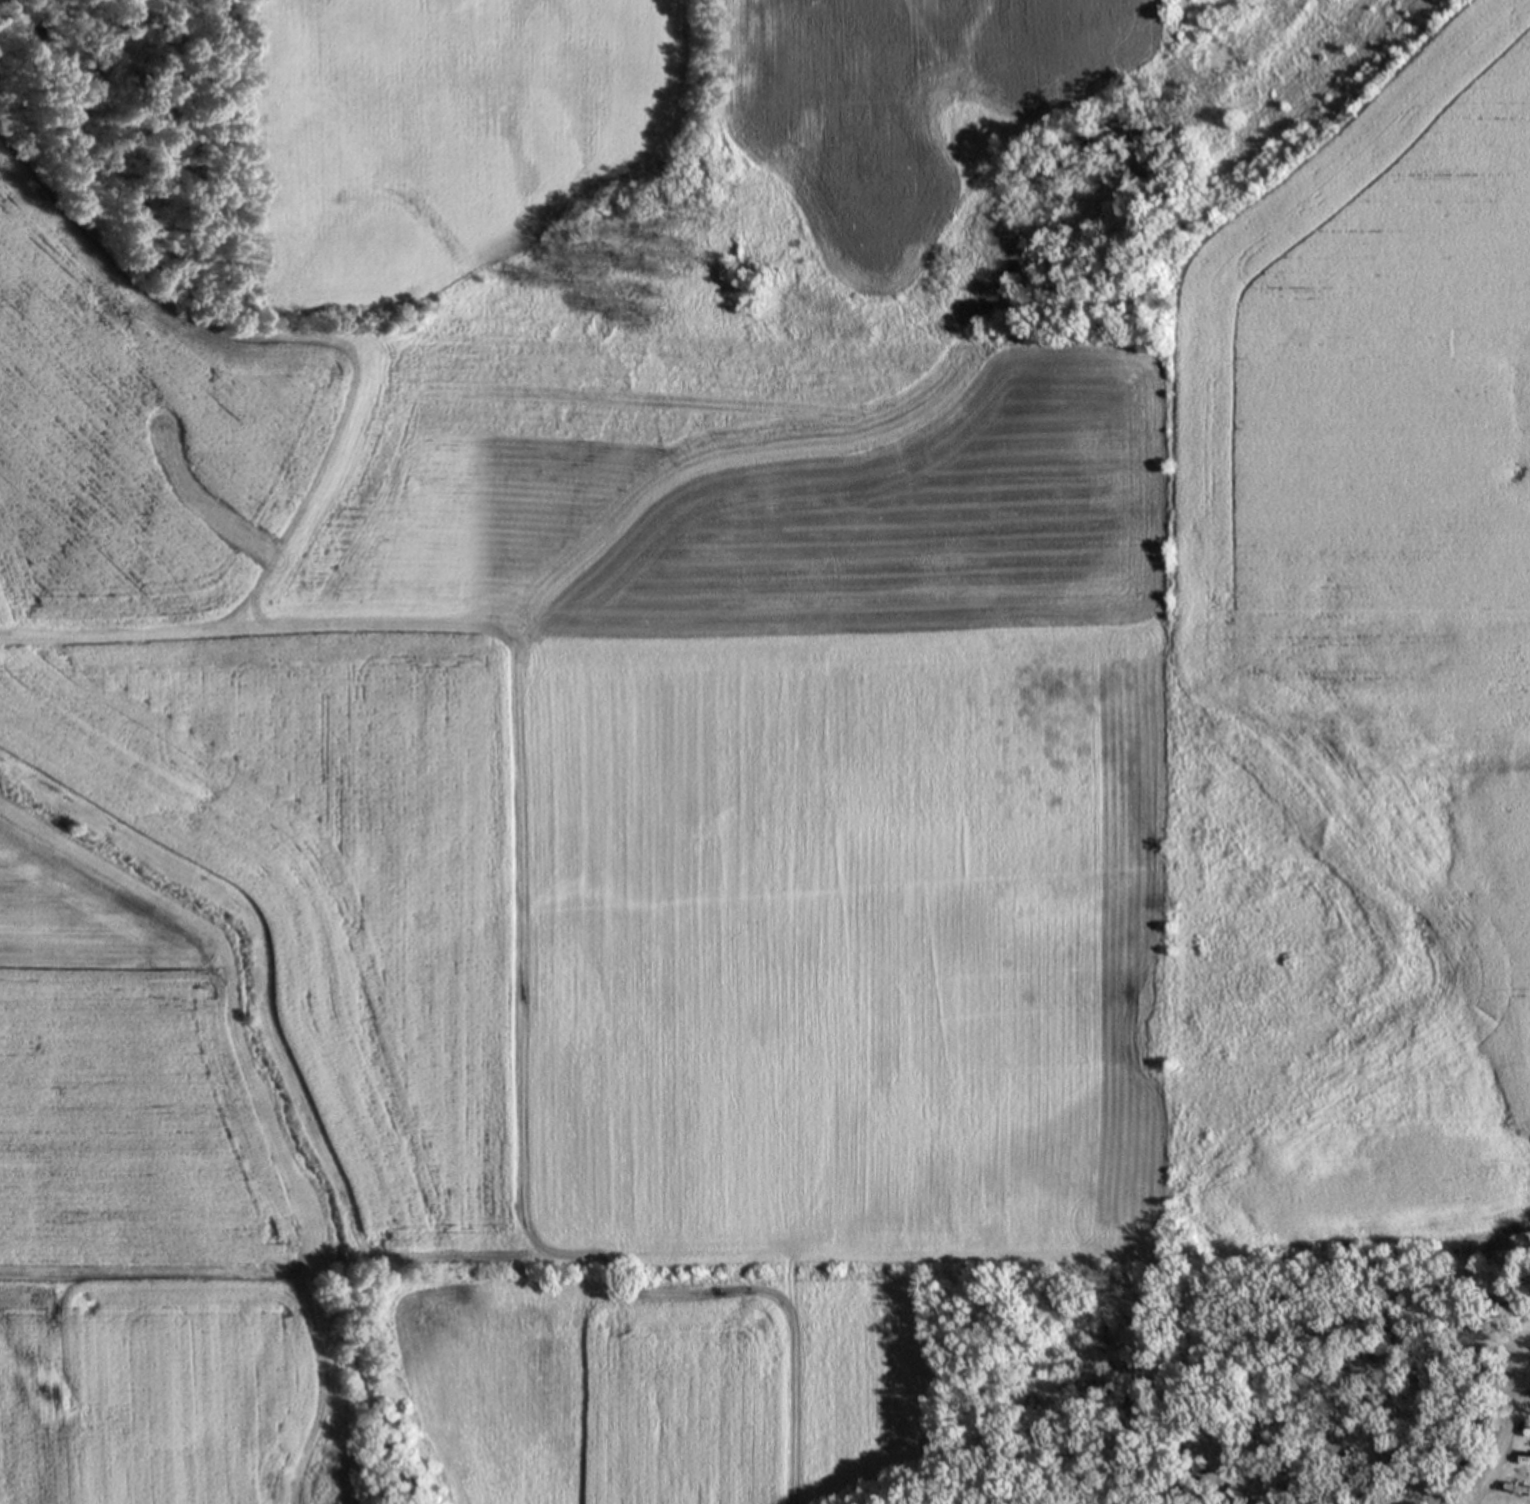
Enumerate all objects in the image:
road: (1292, 1341)
road: (1510, 1434)

